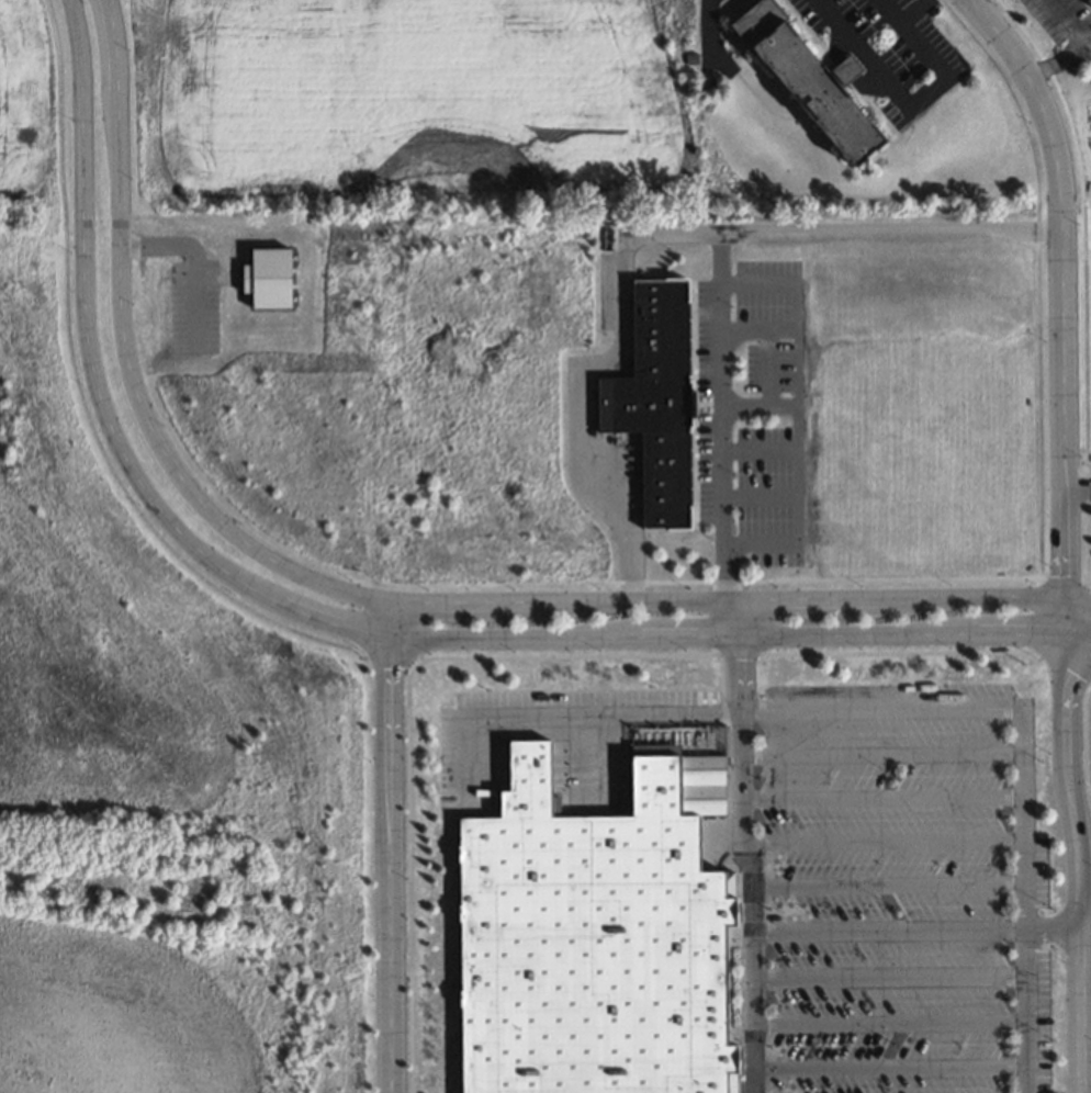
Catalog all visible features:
building: (1088, 3)
building: (844, 69)
building: (801, 81)
road: (888, 225)
road: (650, 236)
building: (609, 237)
building: (656, 397)
road: (1067, 532)
road: (370, 598)
road: (342, 627)
building: (514, 700)
road: (898, 708)
road: (1088, 737)
road: (882, 754)
road: (882, 797)
road: (884, 841)
road: (744, 845)
road: (389, 846)
road: (885, 884)
road: (913, 929)
building: (587, 942)
road: (887, 976)
road: (888, 1022)
road: (889, 1064)

